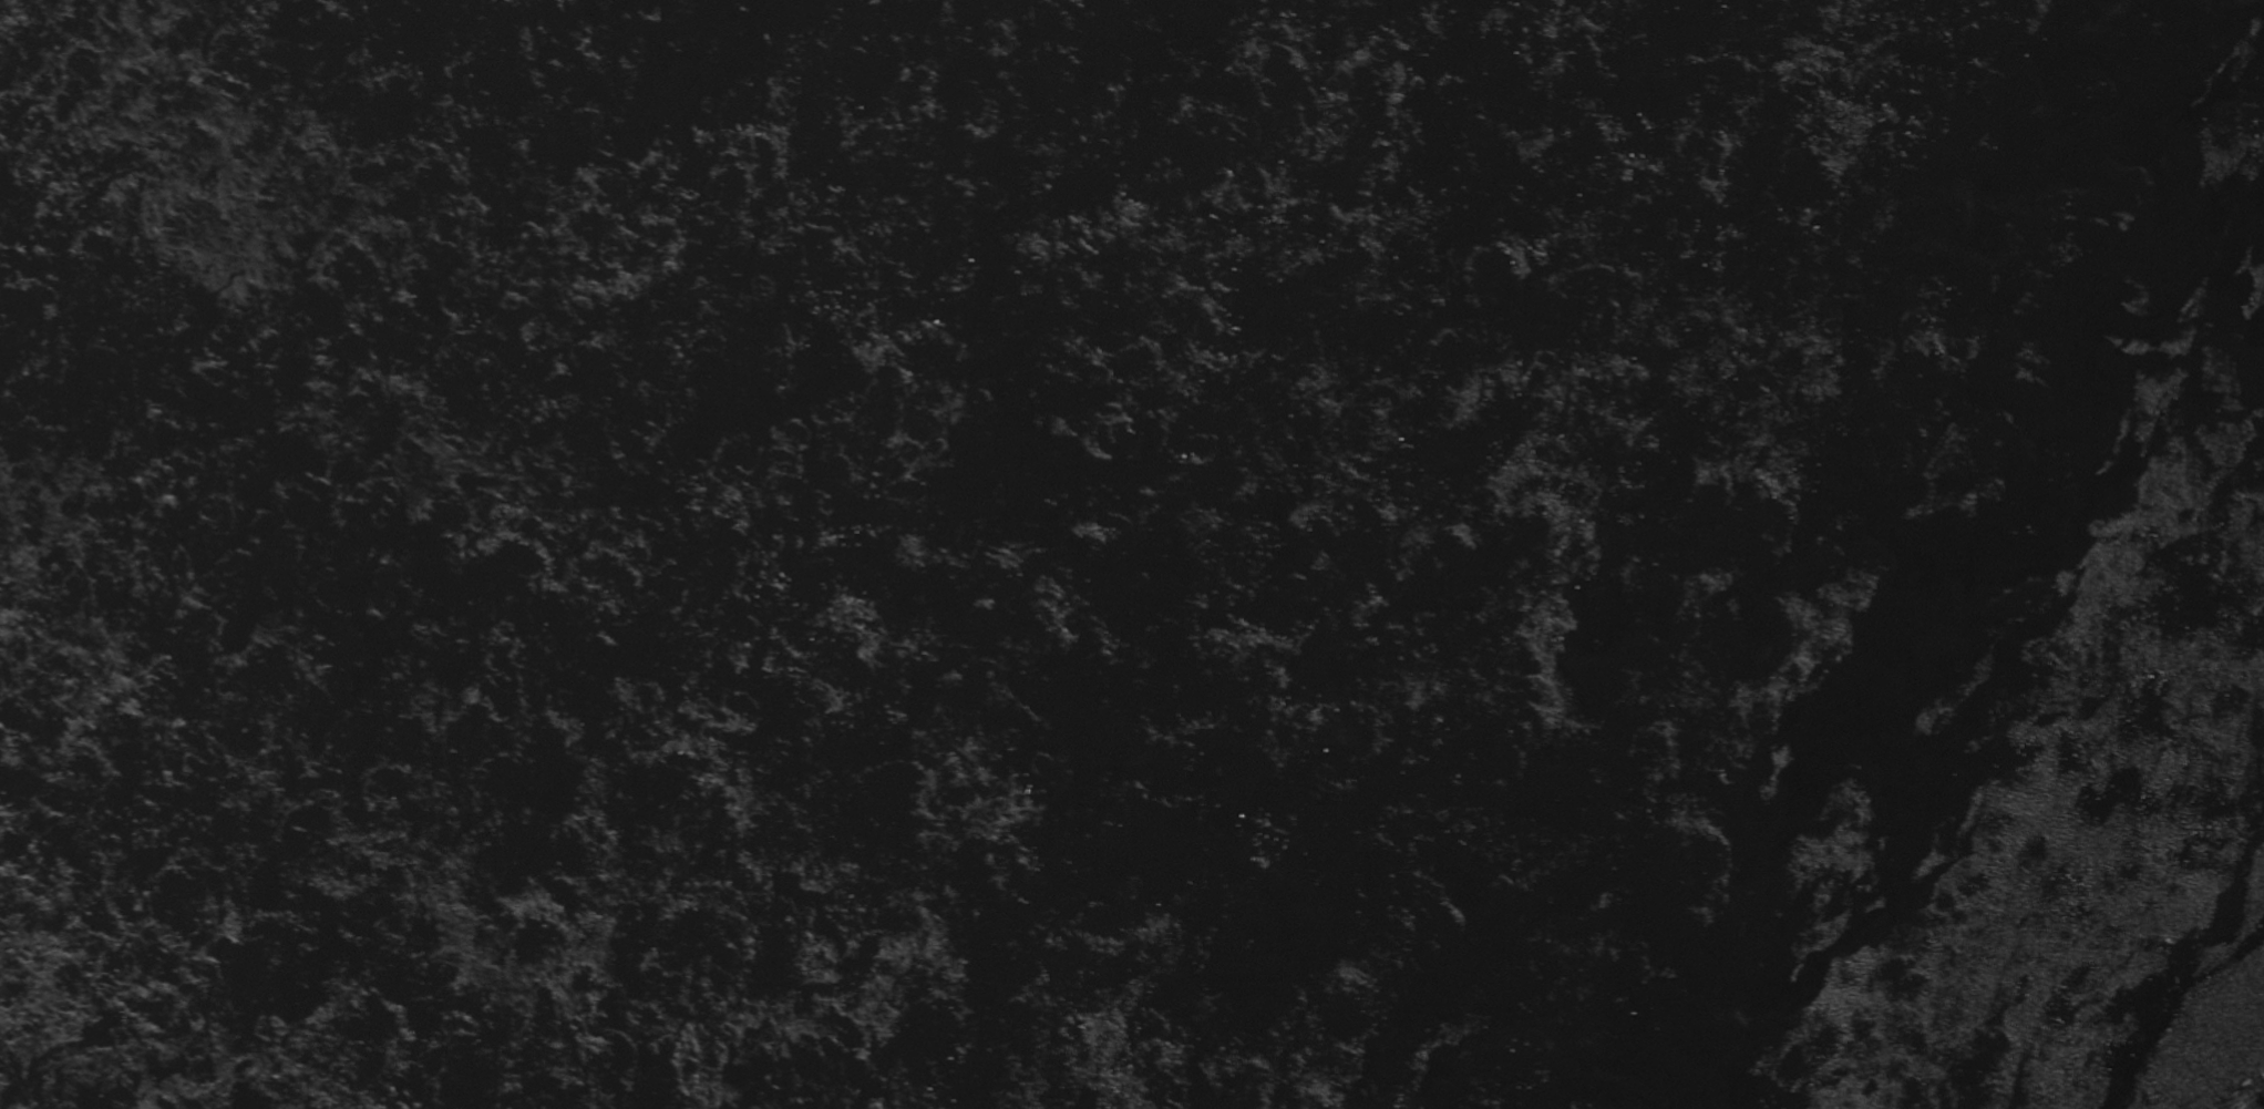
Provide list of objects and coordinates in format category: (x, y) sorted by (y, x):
river: (478, 410)

